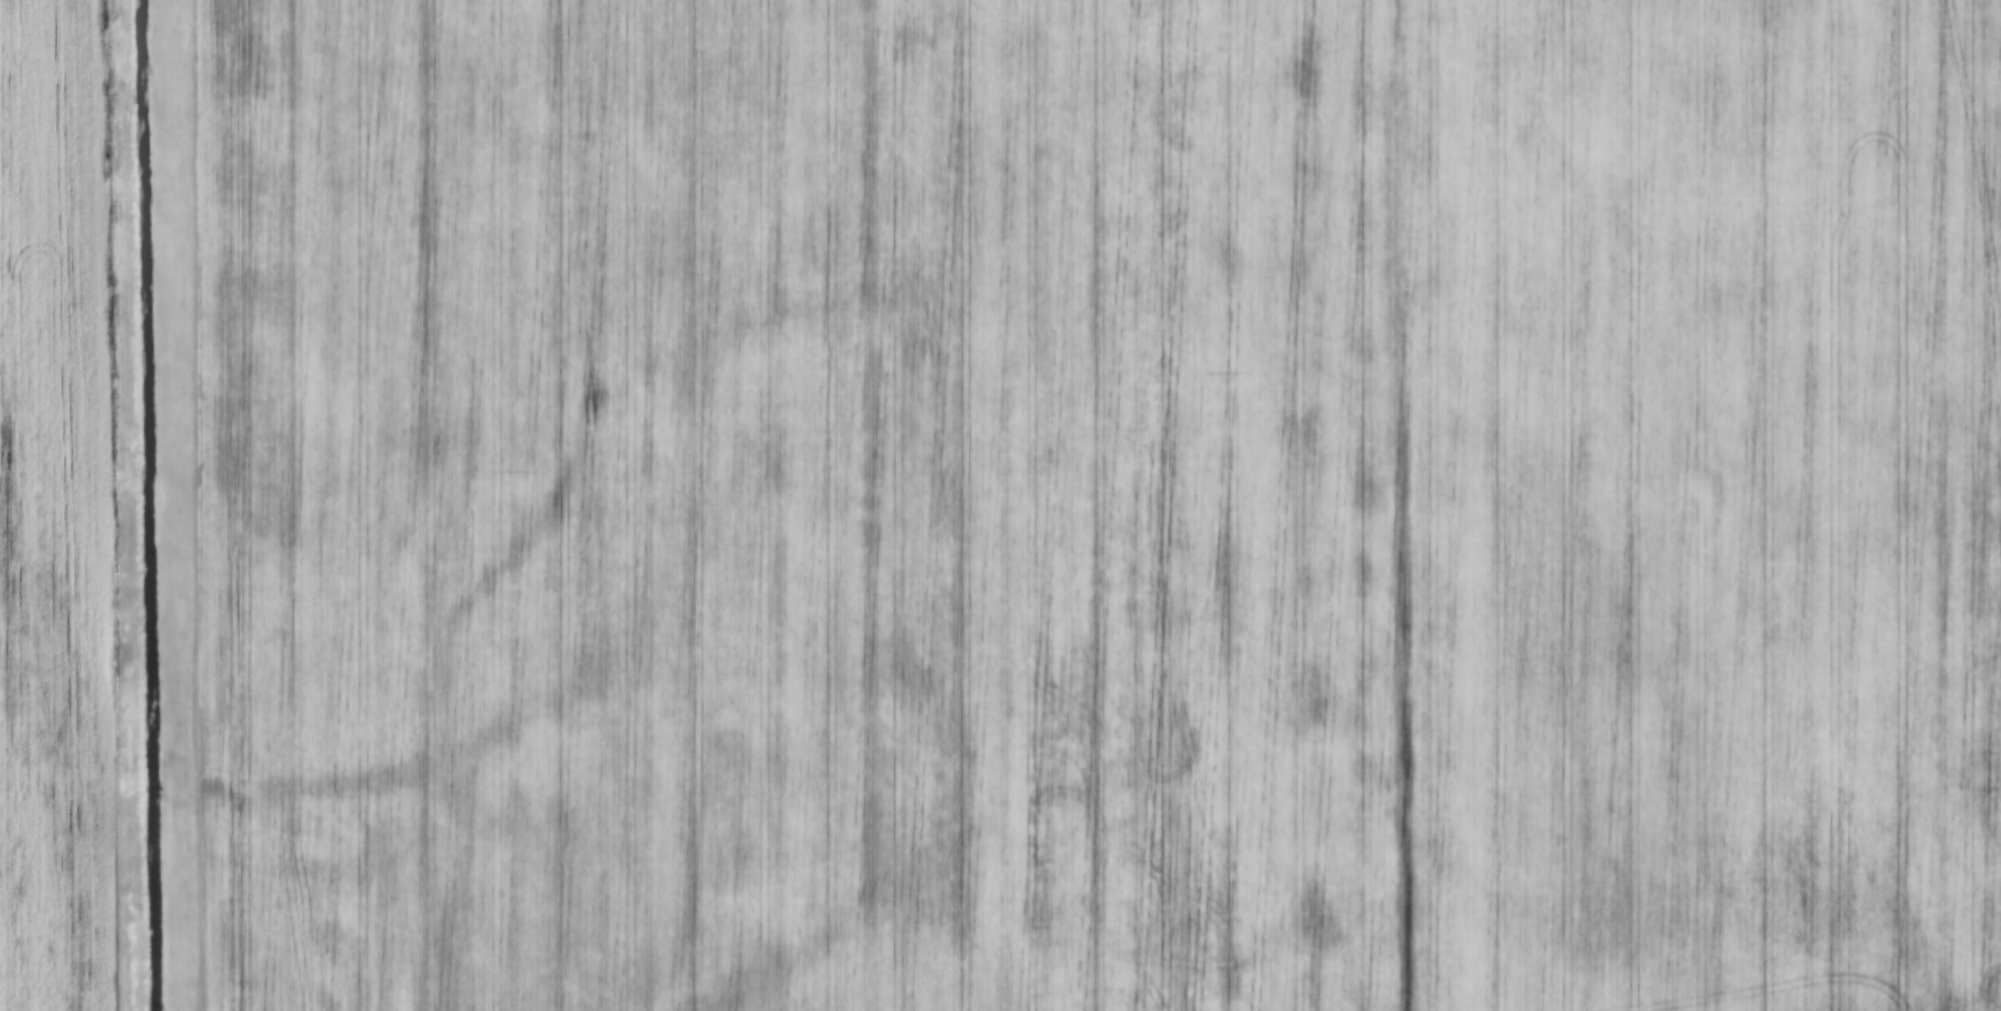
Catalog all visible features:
road: (118, 505)

